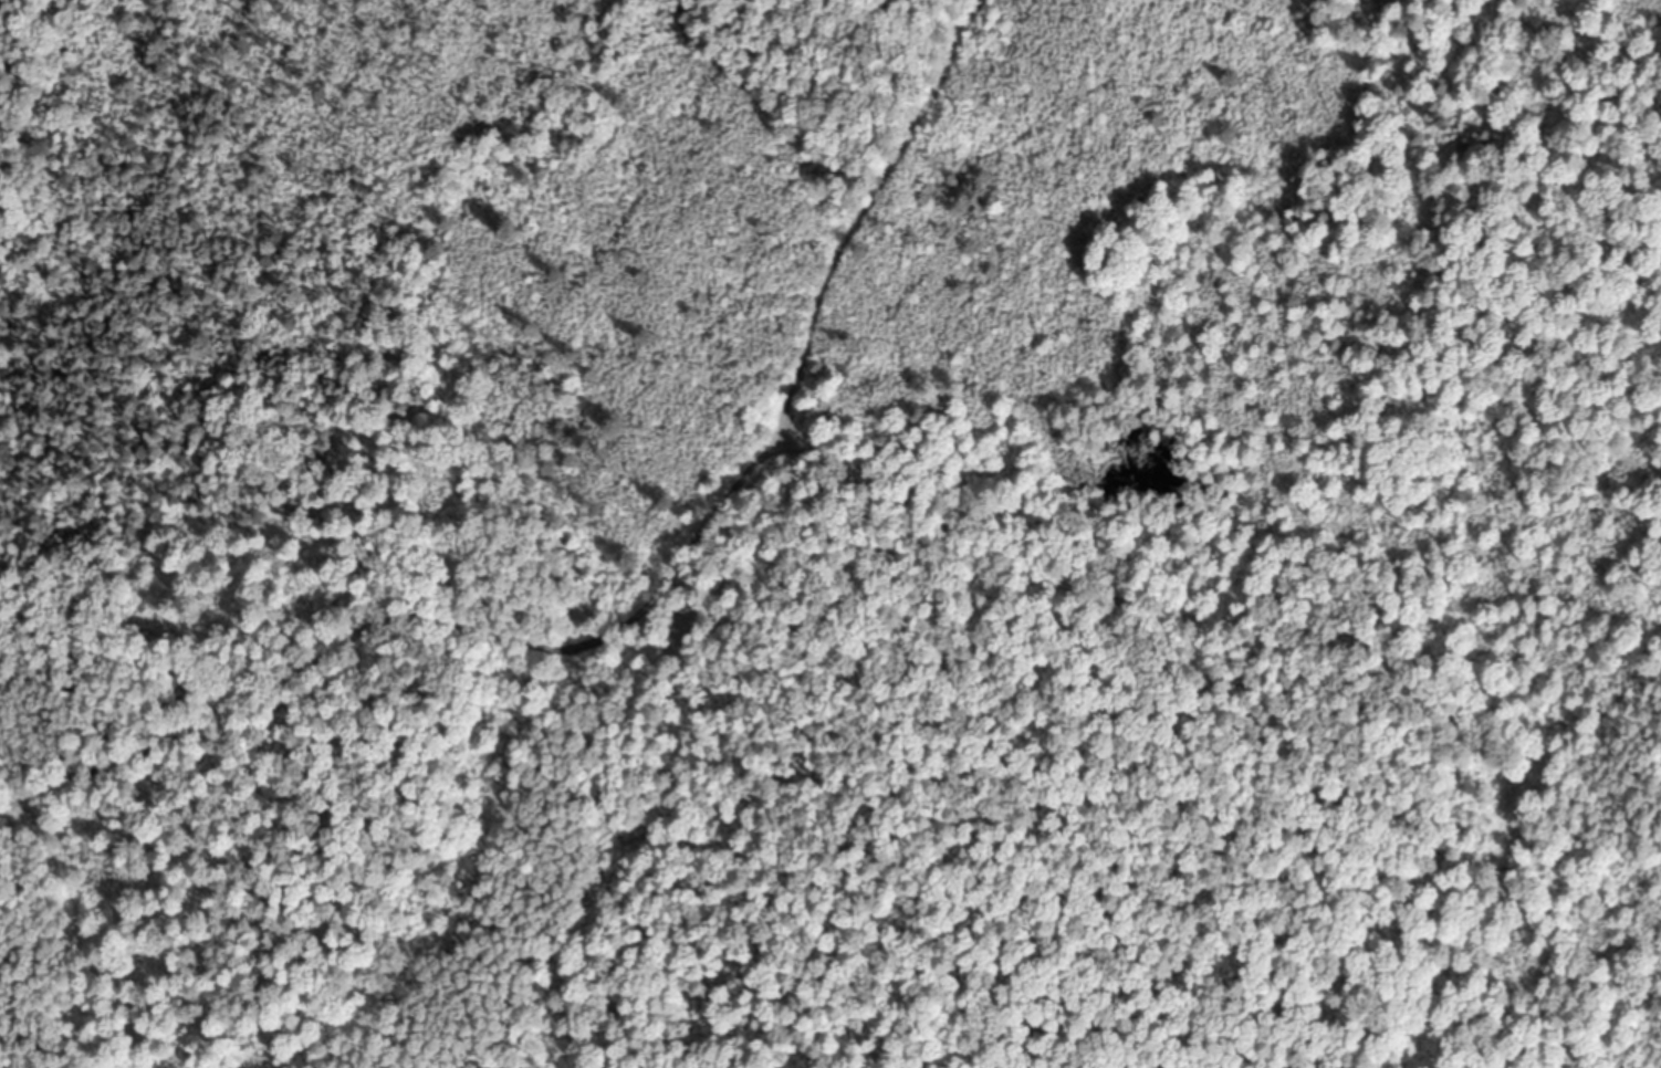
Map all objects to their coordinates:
road: (650, 616)

